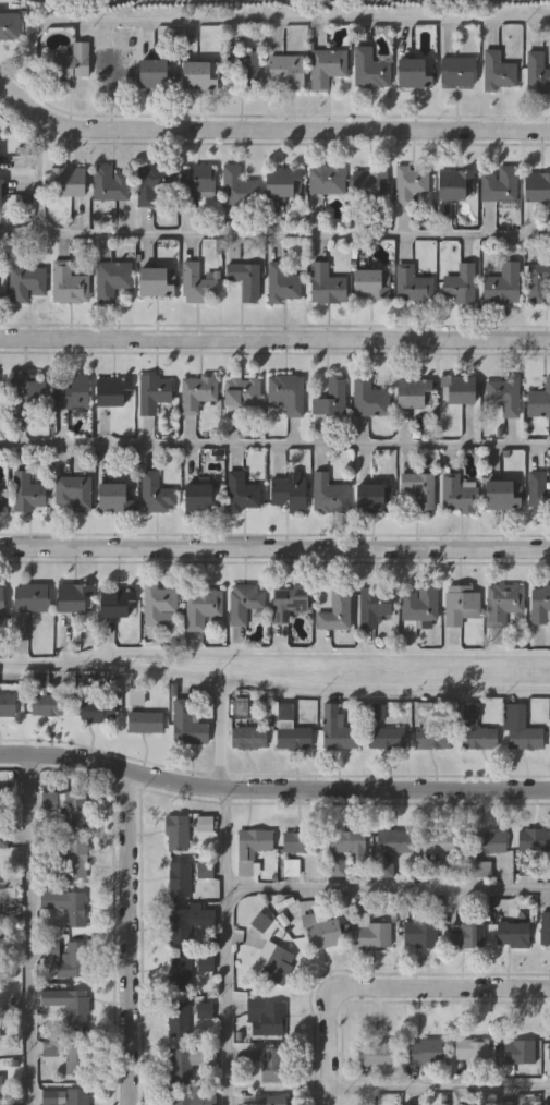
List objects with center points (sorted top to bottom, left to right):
road: (250, 19)
building: (10, 25)
building: (72, 63)
building: (327, 65)
building: (245, 68)
building: (367, 69)
building: (107, 70)
building: (284, 71)
building: (457, 71)
building: (154, 72)
building: (498, 72)
building: (412, 73)
building: (537, 73)
building: (199, 75)
road: (267, 127)
road: (40, 175)
building: (326, 180)
building: (70, 181)
building: (196, 182)
building: (283, 182)
building: (110, 183)
building: (410, 184)
building: (498, 184)
building: (151, 185)
building: (369, 185)
building: (455, 185)
building: (239, 187)
building: (537, 187)
building: (0, 198)
road: (274, 235)
building: (112, 278)
building: (244, 280)
building: (537, 281)
building: (25, 282)
building: (155, 282)
building: (68, 283)
building: (282, 283)
building: (369, 283)
building: (197, 284)
building: (327, 284)
building: (460, 284)
building: (502, 284)
building: (412, 286)
road: (274, 338)
building: (459, 390)
building: (24, 391)
building: (243, 391)
building: (111, 392)
building: (154, 392)
building: (196, 392)
building: (72, 393)
building: (286, 393)
building: (415, 393)
building: (502, 394)
building: (331, 398)
building: (369, 399)
building: (539, 400)
road: (274, 442)
building: (419, 489)
building: (244, 491)
building: (27, 493)
building: (73, 493)
building: (157, 494)
building: (289, 494)
building: (538, 494)
building: (329, 495)
building: (459, 495)
building: (501, 496)
building: (112, 497)
building: (200, 499)
building: (370, 499)
building: (0, 506)
road: (274, 547)
building: (32, 597)
building: (74, 598)
building: (1, 602)
building: (243, 602)
building: (288, 602)
building: (503, 603)
building: (115, 604)
building: (419, 604)
building: (540, 604)
building: (374, 605)
building: (159, 606)
building: (462, 607)
building: (204, 608)
building: (334, 612)
road: (306, 653)
road: (33, 665)
road: (307, 690)
building: (7, 705)
building: (49, 705)
building: (97, 711)
building: (145, 721)
building: (186, 724)
building: (520, 729)
building: (337, 730)
road: (221, 733)
building: (386, 737)
building: (437, 737)
building: (249, 738)
building: (294, 738)
building: (479, 738)
road: (272, 788)
building: (49, 800)
building: (74, 809)
building: (204, 823)
building: (176, 833)
building: (3, 838)
building: (534, 839)
building: (393, 840)
building: (300, 841)
building: (441, 841)
building: (489, 841)
building: (250, 847)
building: (346, 848)
building: (75, 860)
building: (479, 866)
building: (291, 867)
building: (432, 869)
building: (204, 870)
building: (179, 879)
road: (387, 888)
building: (66, 906)
building: (186, 923)
building: (545, 927)
road: (27, 928)
building: (321, 930)
building: (374, 934)
building: (419, 934)
building: (513, 934)
building: (468, 935)
road: (127, 938)
road: (224, 946)
building: (72, 959)
building: (278, 964)
building: (180, 972)
road: (388, 986)
building: (49, 997)
building: (76, 1007)
building: (267, 1015)
building: (178, 1018)
building: (0, 1037)
building: (425, 1051)
building: (470, 1051)
building: (517, 1052)
building: (375, 1053)
building: (75, 1056)
building: (548, 1056)
building: (186, 1061)
building: (272, 1064)
building: (0, 1081)
road: (437, 1086)
building: (76, 1096)
building: (192, 1100)
building: (270, 1100)
building: (505, 1103)

